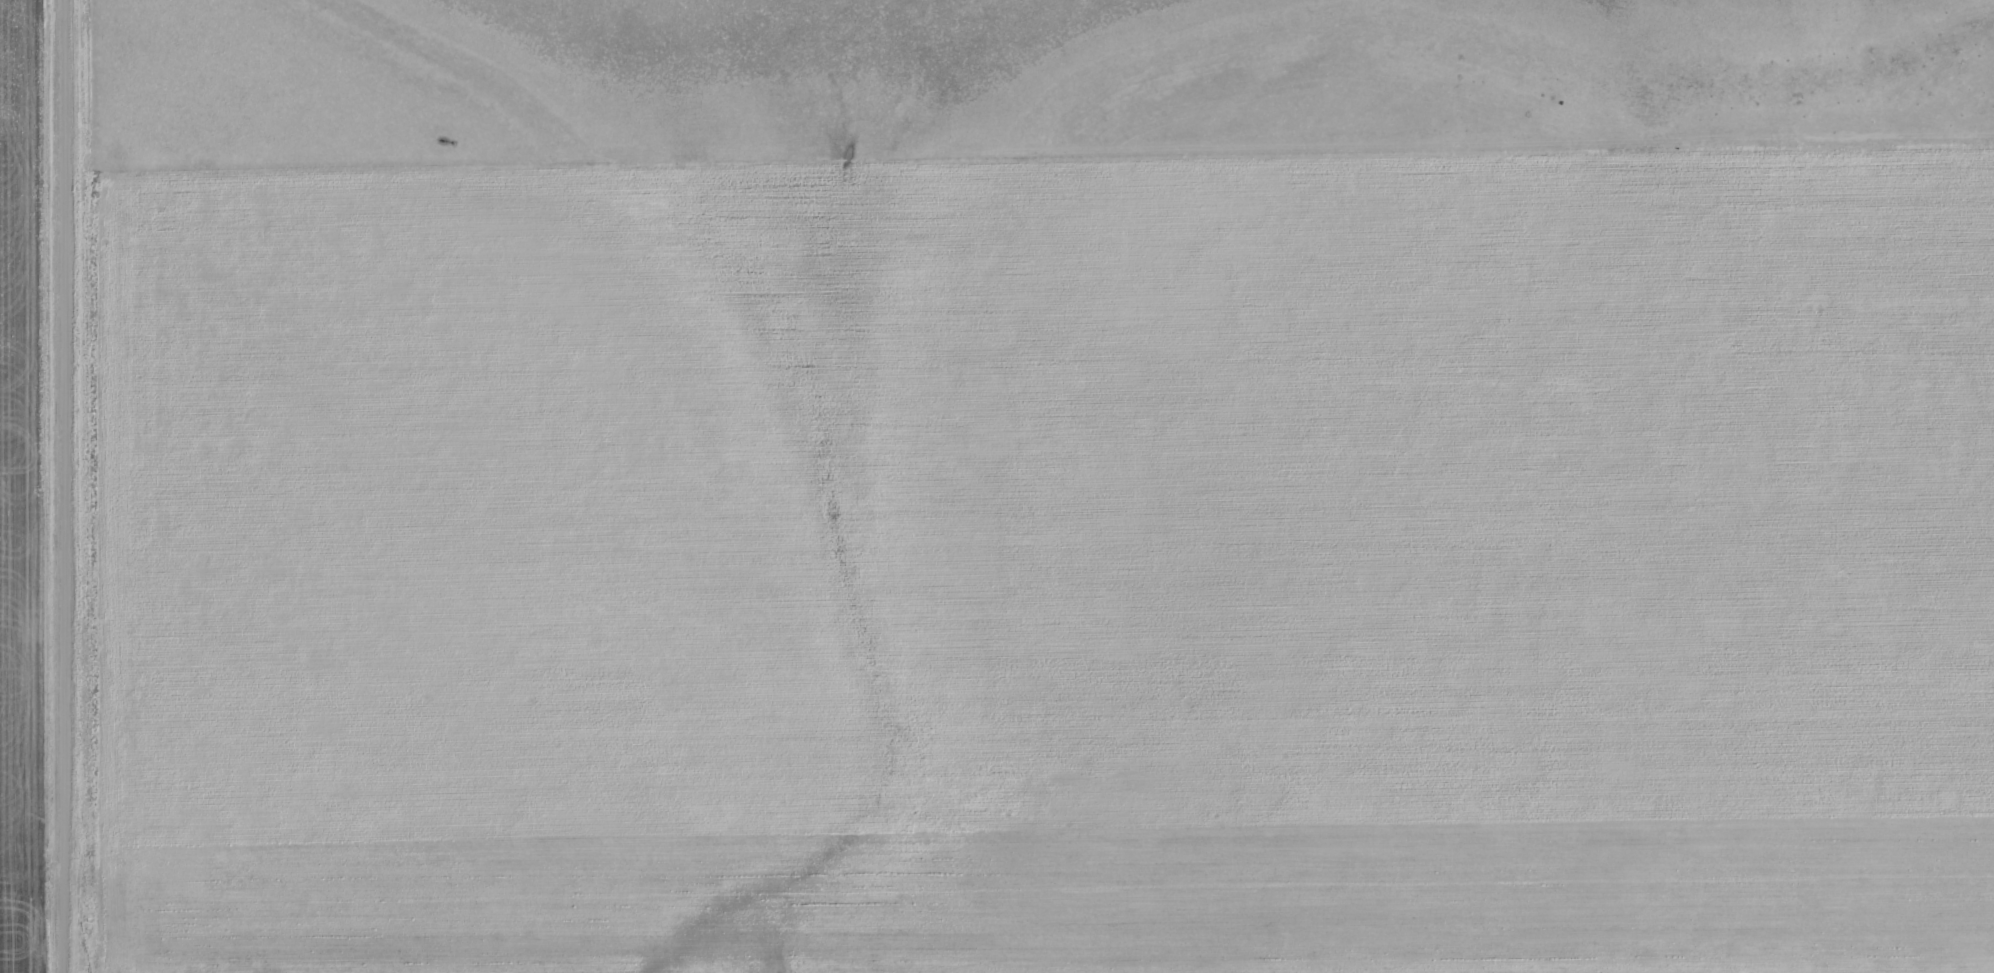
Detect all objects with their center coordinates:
road: (67, 486)

